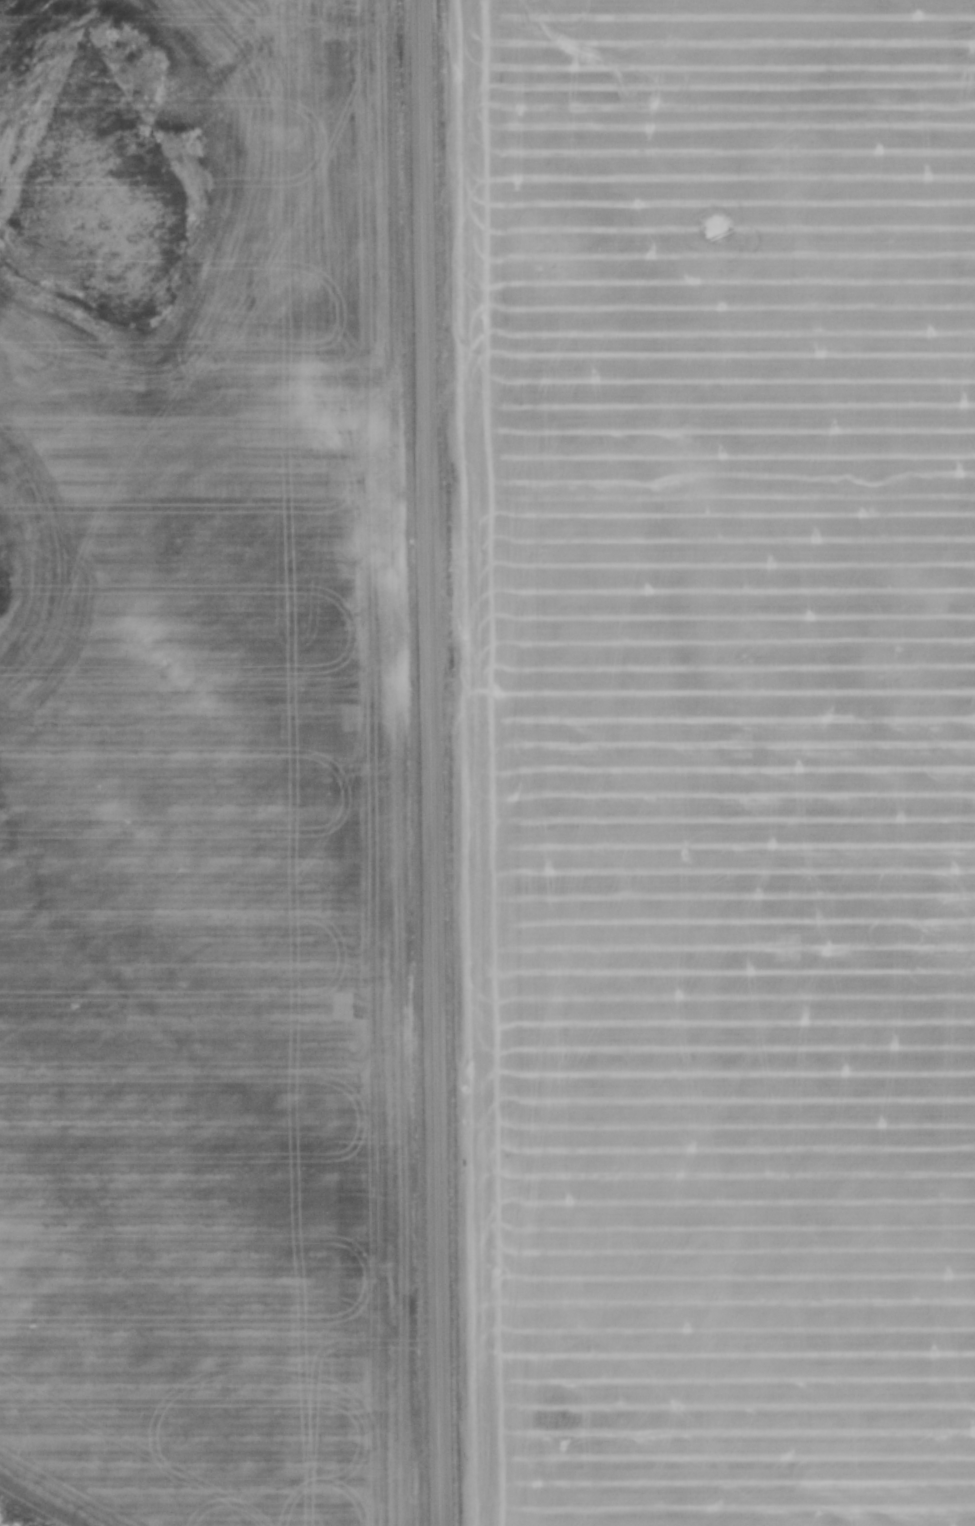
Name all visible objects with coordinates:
crop: (713, 758)
road: (428, 763)
crop: (216, 842)

